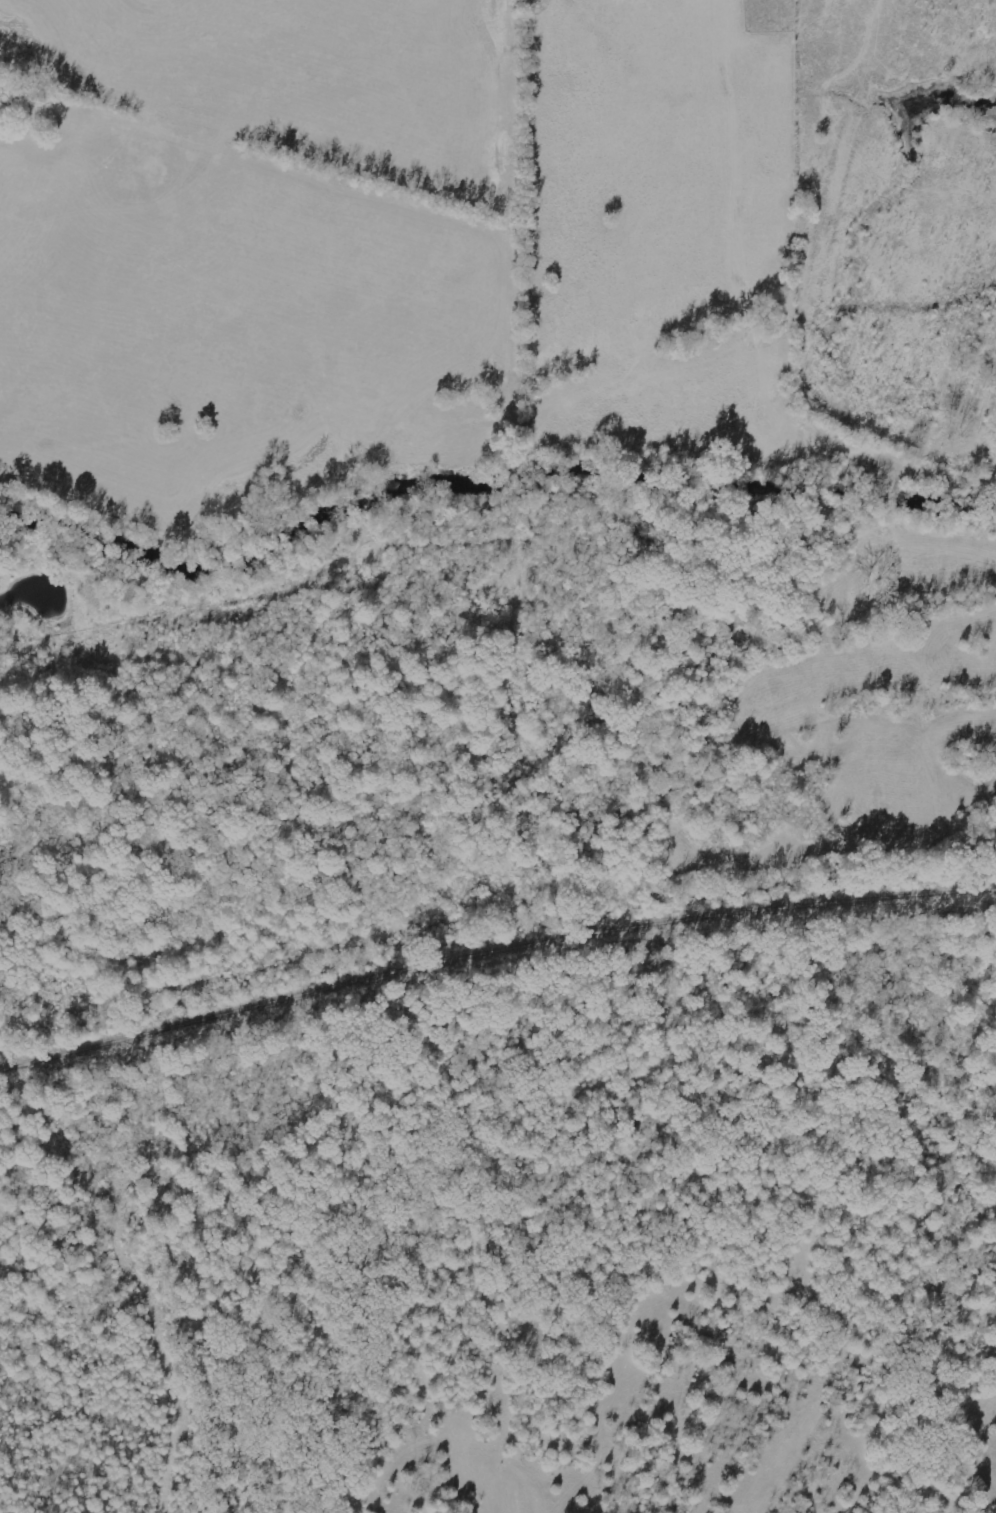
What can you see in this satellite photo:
railway: (492, 952)

